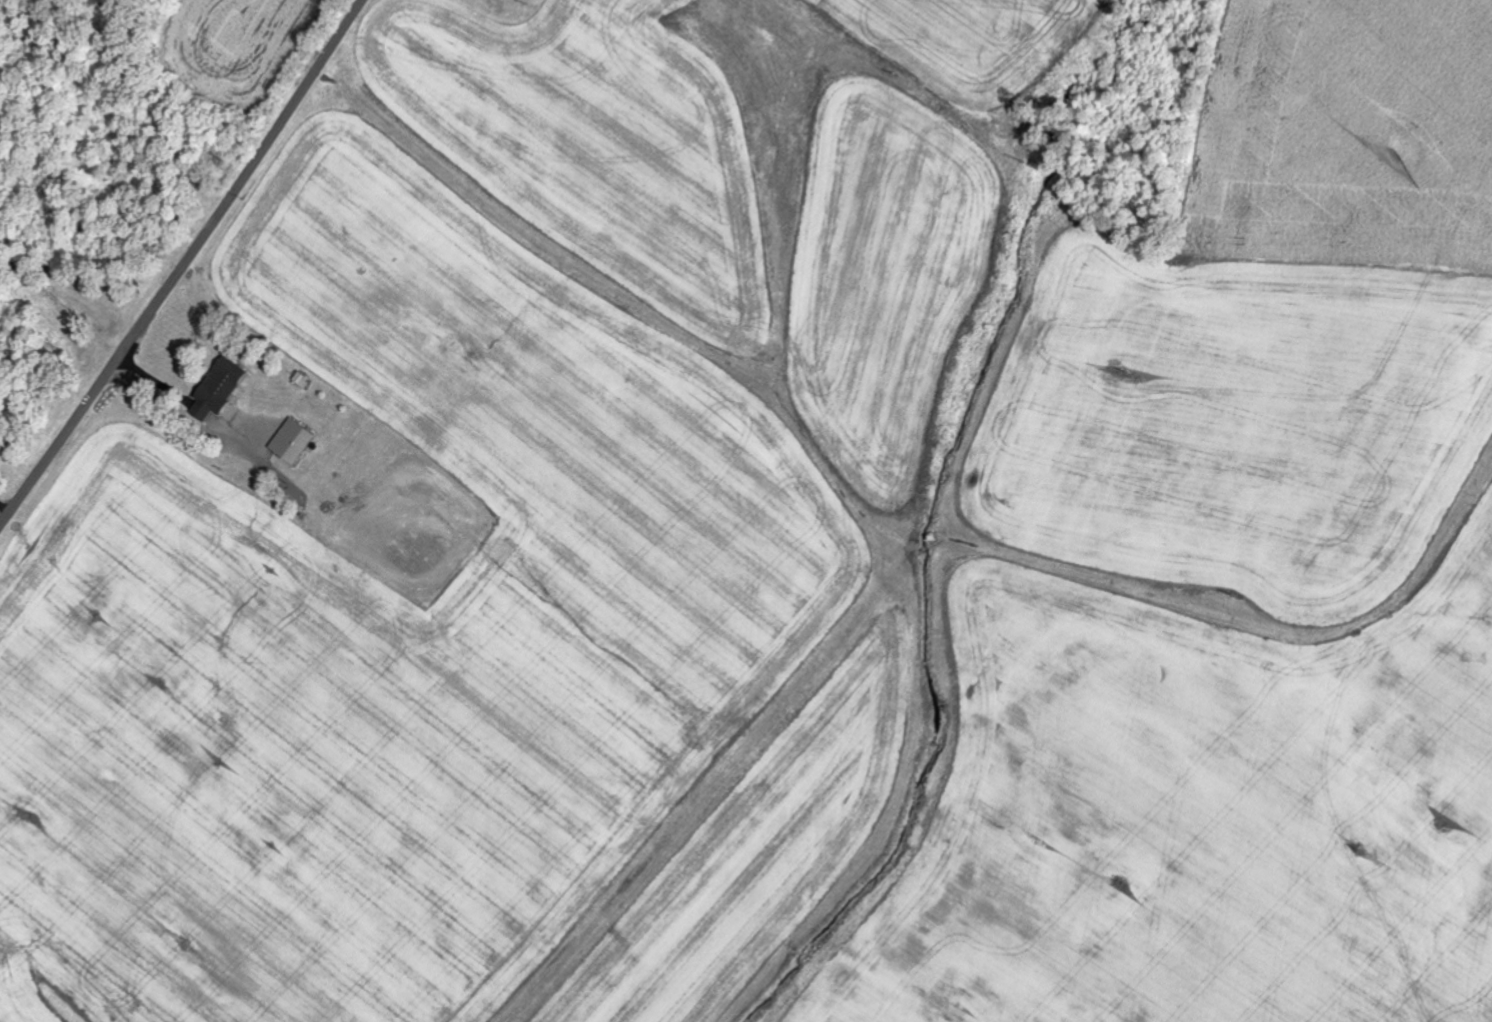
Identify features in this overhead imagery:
road: (183, 264)
building: (222, 387)
building: (295, 440)

